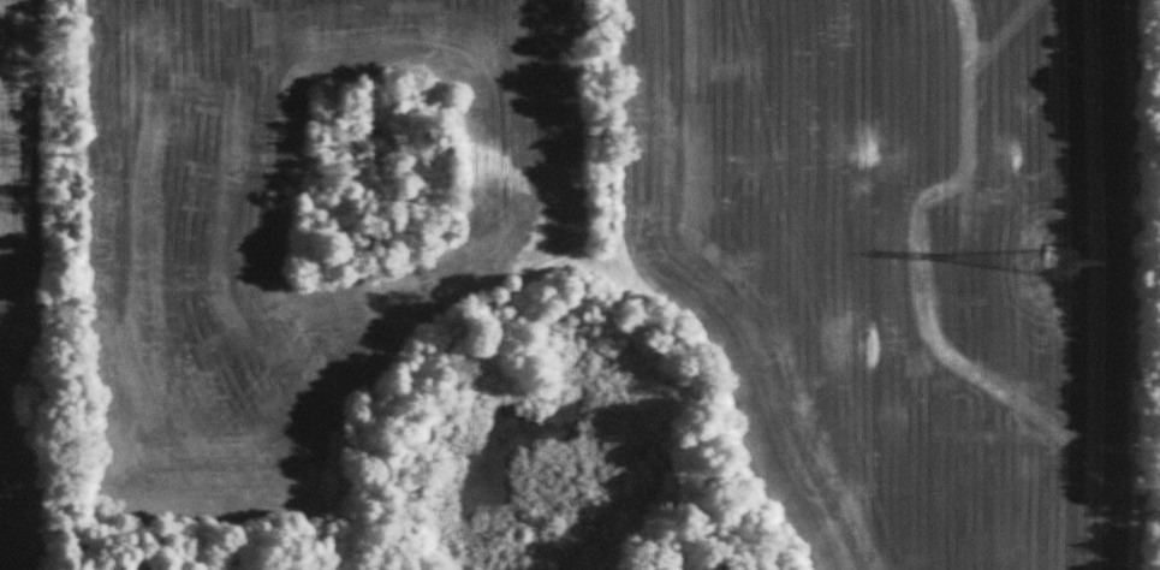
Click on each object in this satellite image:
power tower: (1058, 266)

